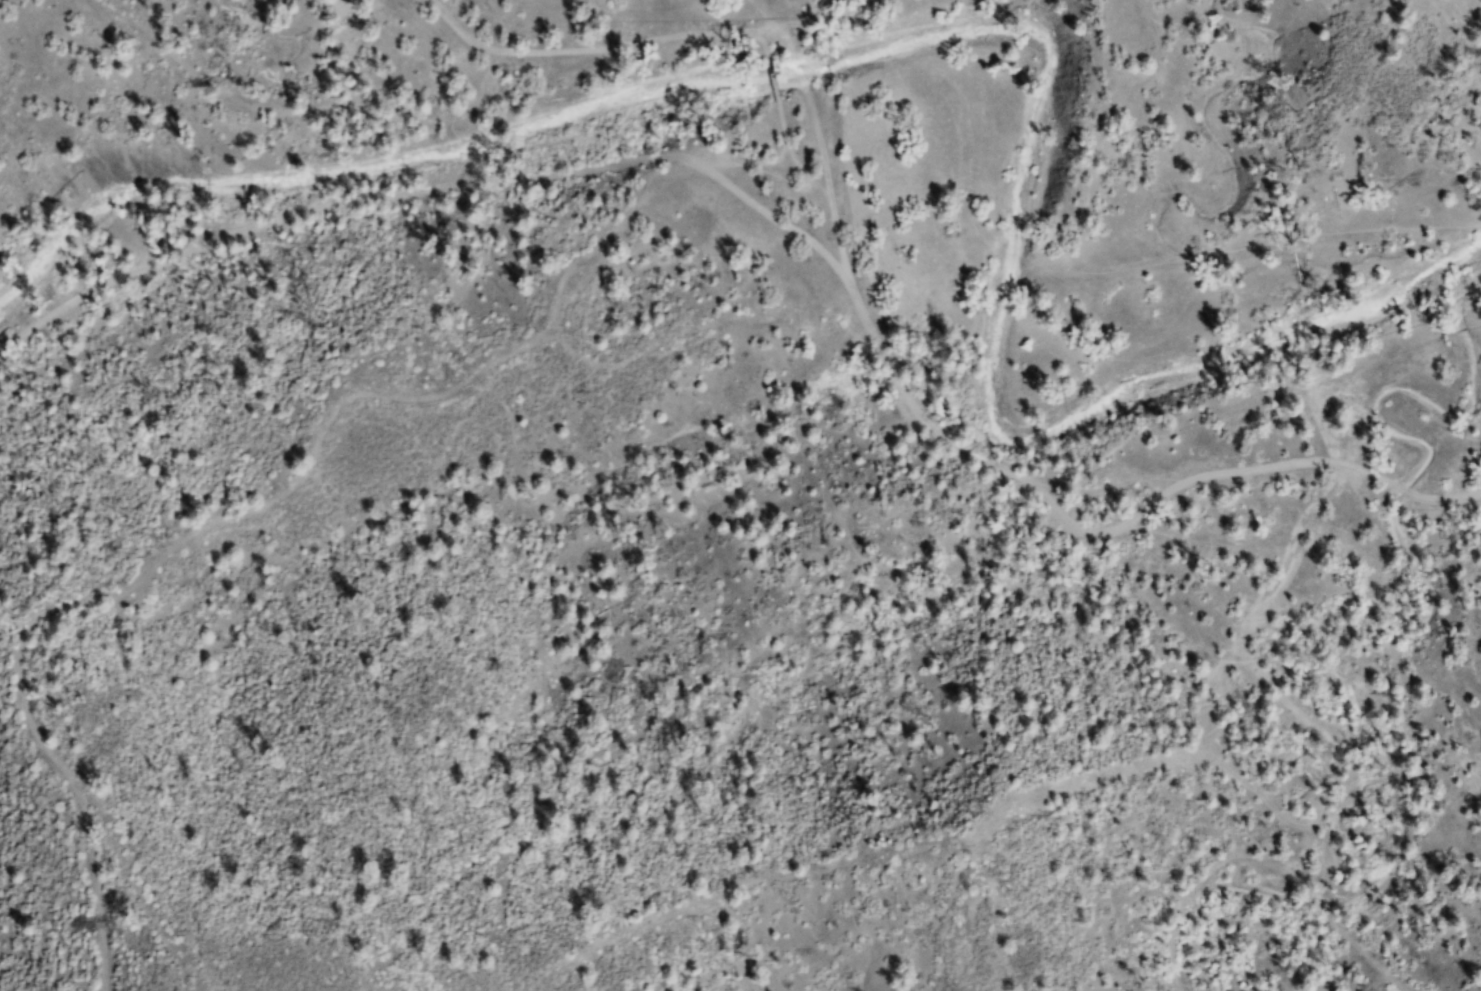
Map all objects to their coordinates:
road: (724, 29)
road: (415, 209)
river: (993, 328)
road: (1185, 493)

